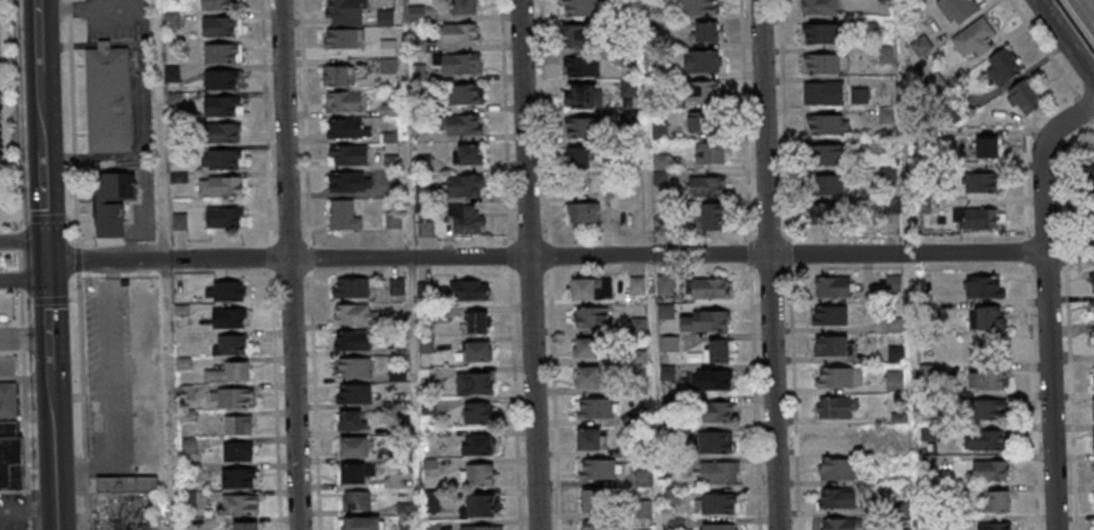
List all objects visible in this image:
building: (880, 0)
building: (168, 1)
building: (623, 2)
building: (216, 5)
building: (817, 7)
road: (69, 8)
building: (462, 8)
building: (578, 8)
building: (696, 8)
building: (958, 8)
road: (1086, 9)
building: (342, 12)
building: (413, 13)
building: (383, 18)
building: (169, 22)
road: (142, 23)
building: (217, 27)
road: (69, 29)
building: (704, 33)
building: (456, 34)
building: (818, 34)
building: (572, 36)
building: (974, 36)
building: (339, 40)
road: (1065, 40)
road: (70, 44)
building: (415, 45)
building: (918, 46)
building: (385, 49)
building: (218, 54)
building: (884, 55)
building: (627, 57)
parking lot: (131, 58)
road: (1051, 58)
building: (700, 63)
building: (457, 65)
building: (819, 65)
building: (1003, 66)
building: (386, 67)
building: (579, 67)
building: (416, 71)
building: (169, 75)
building: (335, 77)
building: (218, 80)
building: (931, 82)
building: (627, 89)
building: (700, 92)
building: (820, 95)
building: (1025, 95)
building: (458, 96)
building: (857, 97)
building: (109, 98)
building: (577, 98)
building: (172, 99)
road: (71, 100)
building: (342, 102)
building: (654, 102)
building: (218, 107)
building: (386, 111)
building: (954, 112)
building: (884, 117)
road: (18, 118)
building: (628, 119)
road: (266, 121)
road: (306, 122)
building: (703, 122)
building: (825, 125)
building: (458, 126)
road: (159, 129)
building: (582, 129)
road: (43, 130)
building: (344, 130)
building: (657, 132)
building: (219, 133)
building: (918, 137)
building: (387, 139)
building: (885, 146)
building: (985, 147)
building: (630, 150)
building: (707, 154)
road: (74, 155)
building: (821, 155)
road: (98, 156)
building: (175, 156)
building: (345, 156)
building: (465, 156)
building: (575, 159)
building: (219, 161)
building: (389, 163)
building: (659, 163)
building: (420, 164)
building: (919, 170)
building: (1089, 172)
building: (885, 175)
building: (177, 178)
building: (659, 179)
building: (981, 181)
building: (345, 183)
building: (824, 186)
building: (461, 187)
building: (220, 188)
building: (704, 188)
building: (421, 195)
road: (76, 202)
building: (919, 206)
building: (888, 207)
building: (582, 214)
building: (824, 214)
building: (341, 217)
building: (710, 217)
building: (975, 217)
building: (221, 218)
building: (463, 220)
building: (108, 221)
building: (177, 222)
building: (391, 222)
building: (661, 224)
road: (144, 228)
building: (423, 230)
road: (15, 240)
road: (23, 240)
road: (274, 240)
road: (290, 240)
road: (307, 240)
road: (270, 255)
road: (570, 256)
road: (77, 257)
road: (310, 257)
road: (16, 260)
traffic signals: (47, 261)
road: (288, 264)
road: (551, 264)
road: (510, 265)
road: (528, 265)
road: (751, 265)
road: (767, 265)
road: (789, 265)
road: (276, 272)
road: (292, 273)
road: (308, 274)
building: (1092, 277)
road: (23, 279)
road: (18, 280)
building: (891, 284)
building: (636, 286)
building: (663, 286)
building: (984, 286)
building: (829, 288)
building: (349, 289)
building: (395, 289)
building: (708, 289)
building: (423, 290)
building: (581, 290)
building: (466, 291)
building: (224, 292)
road: (47, 299)
road: (1046, 302)
building: (1092, 305)
road: (19, 308)
building: (178, 310)
building: (664, 312)
building: (352, 316)
building: (426, 316)
building: (987, 317)
building: (589, 318)
building: (827, 318)
building: (225, 319)
building: (397, 321)
building: (703, 322)
building: (476, 324)
building: (636, 327)
building: (893, 327)
building: (1093, 331)
road: (20, 338)
road: (24, 339)
building: (350, 342)
building: (423, 345)
building: (667, 345)
building: (226, 346)
building: (827, 347)
building: (583, 350)
building: (475, 352)
building: (715, 353)
building: (894, 355)
building: (636, 357)
building: (181, 364)
building: (351, 369)
building: (664, 373)
building: (226, 375)
parking lot: (122, 376)
building: (395, 376)
building: (426, 378)
building: (586, 378)
building: (837, 379)
building: (985, 379)
building: (709, 380)
building: (892, 383)
building: (472, 385)
building: (636, 388)
building: (184, 393)
road: (166, 395)
building: (354, 396)
road: (275, 398)
road: (1029, 398)
building: (230, 399)
road: (316, 399)
building: (398, 399)
building: (7, 400)
road: (81, 400)
building: (665, 402)
building: (426, 408)
building: (833, 408)
building: (1093, 408)
building: (987, 409)
building: (593, 410)
building: (711, 413)
building: (476, 416)
building: (186, 417)
building: (638, 418)
building: (896, 419)
building: (349, 423)
building: (236, 427)
building: (7, 430)
building: (400, 430)
building: (927, 433)
road: (53, 434)
building: (667, 434)
building: (985, 439)
building: (832, 440)
building: (1093, 440)
road: (23, 441)
building: (588, 441)
building: (710, 444)
building: (475, 448)
building: (187, 449)
building: (351, 449)
building: (639, 449)
building: (235, 453)
building: (400, 454)
building: (928, 463)
building: (10, 464)
building: (428, 465)
building: (668, 466)
building: (988, 470)
building: (597, 471)
building: (835, 471)
building: (187, 473)
building: (717, 474)
building: (354, 475)
building: (477, 476)
building: (239, 477)
building: (641, 478)
building: (124, 485)
building: (929, 494)
building: (671, 496)
building: (187, 499)
building: (835, 500)
building: (997, 501)
building: (354, 503)
building: (430, 503)
building: (589, 503)
building: (241, 504)
building: (716, 505)
building: (126, 508)
building: (476, 508)
building: (898, 508)
building: (402, 509)
building: (642, 509)
parking lot: (12, 511)
building: (672, 523)
building: (360, 525)
building: (840, 525)
building: (245, 526)
building: (431, 526)
building: (598, 526)
building: (994, 526)
building: (132, 527)
building: (404, 528)
building: (479, 528)
building: (716, 528)

